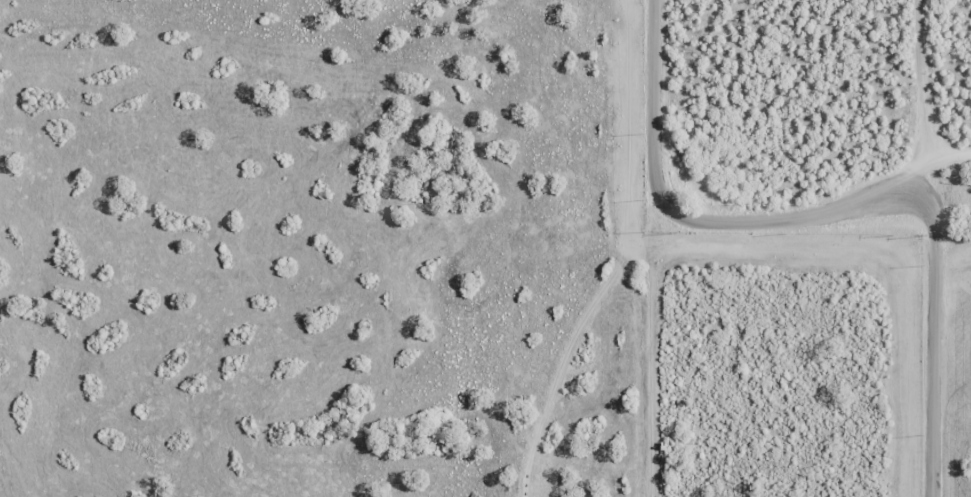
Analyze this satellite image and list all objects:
road: (834, 216)

